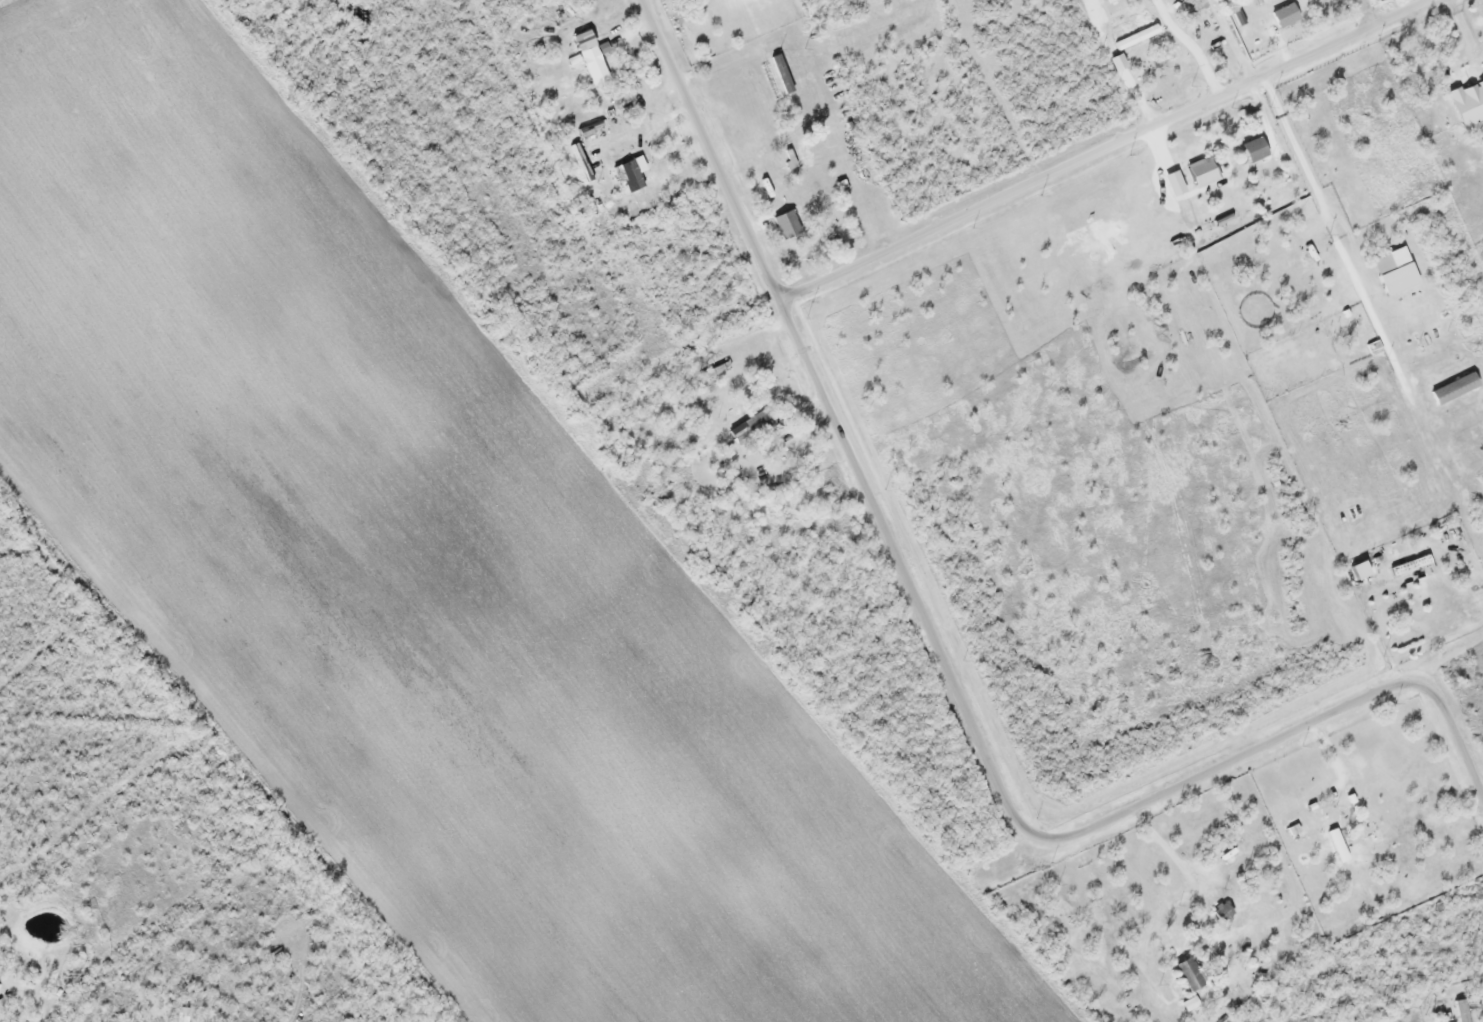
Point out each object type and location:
road: (1367, 12)
building: (1287, 15)
building: (1138, 36)
building: (771, 80)
building: (1469, 103)
building: (592, 128)
road: (1295, 146)
road: (1101, 149)
building: (1257, 149)
road: (708, 150)
building: (650, 161)
building: (582, 162)
building: (1205, 171)
building: (788, 224)
building: (1314, 249)
building: (1400, 257)
building: (1474, 363)
building: (752, 428)
road: (1019, 820)
building: (1338, 845)
building: (1224, 911)
building: (1193, 974)
road: (30, 994)
building: (1463, 1010)

